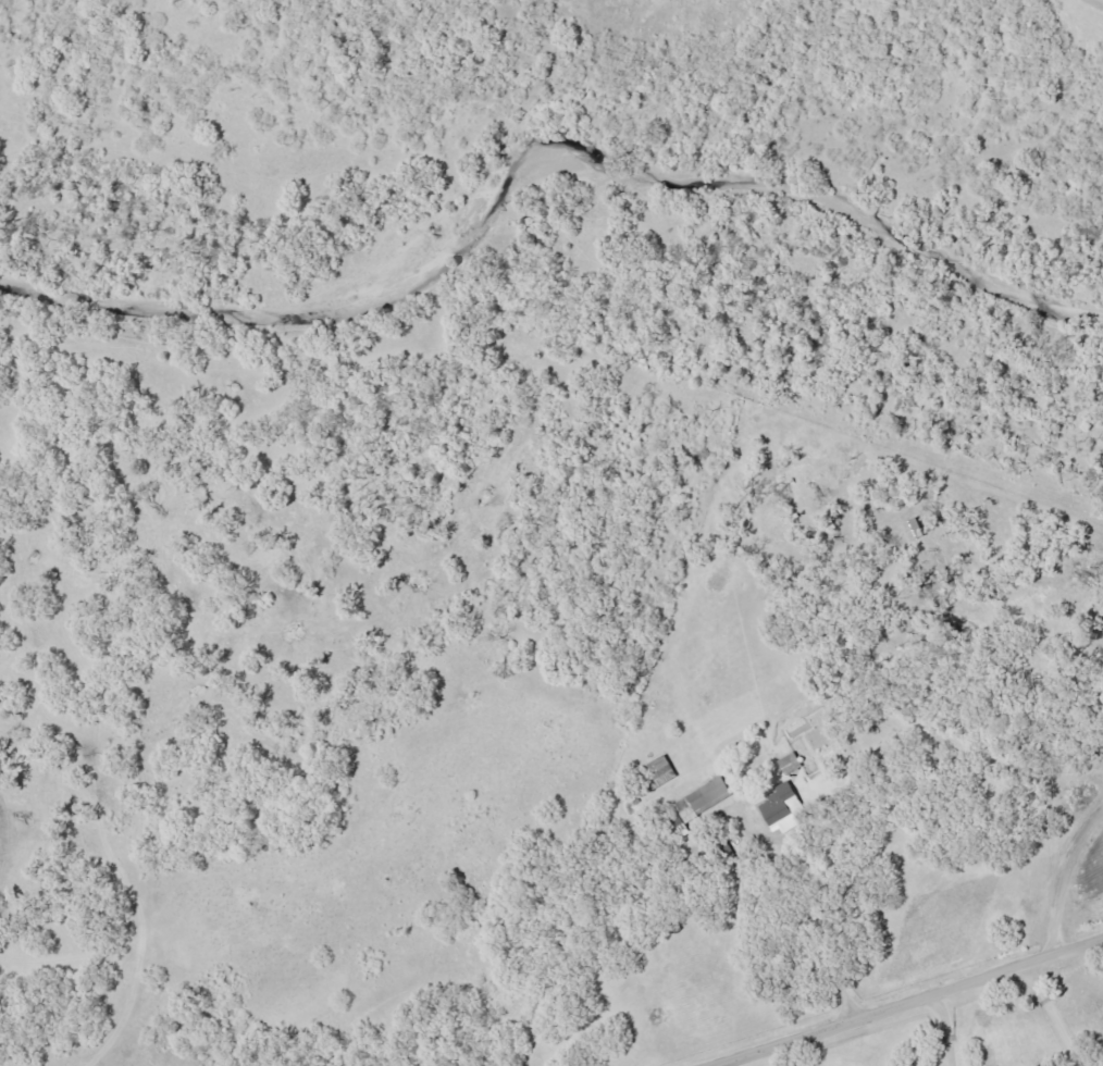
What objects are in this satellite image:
building: (786, 763)
building: (655, 771)
building: (697, 804)
building: (778, 808)
road: (618, 907)
road: (905, 1001)

